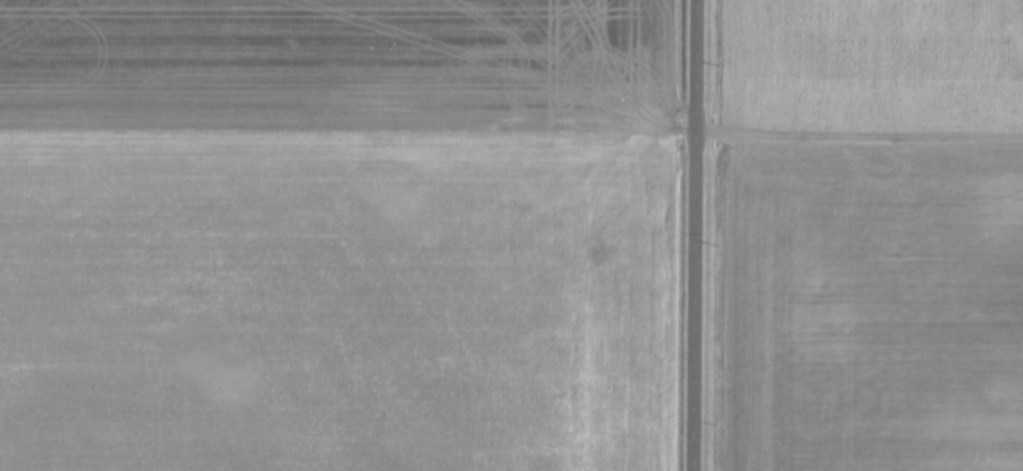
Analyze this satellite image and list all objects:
crop: (863, 64)
crop: (333, 235)
road: (688, 235)

